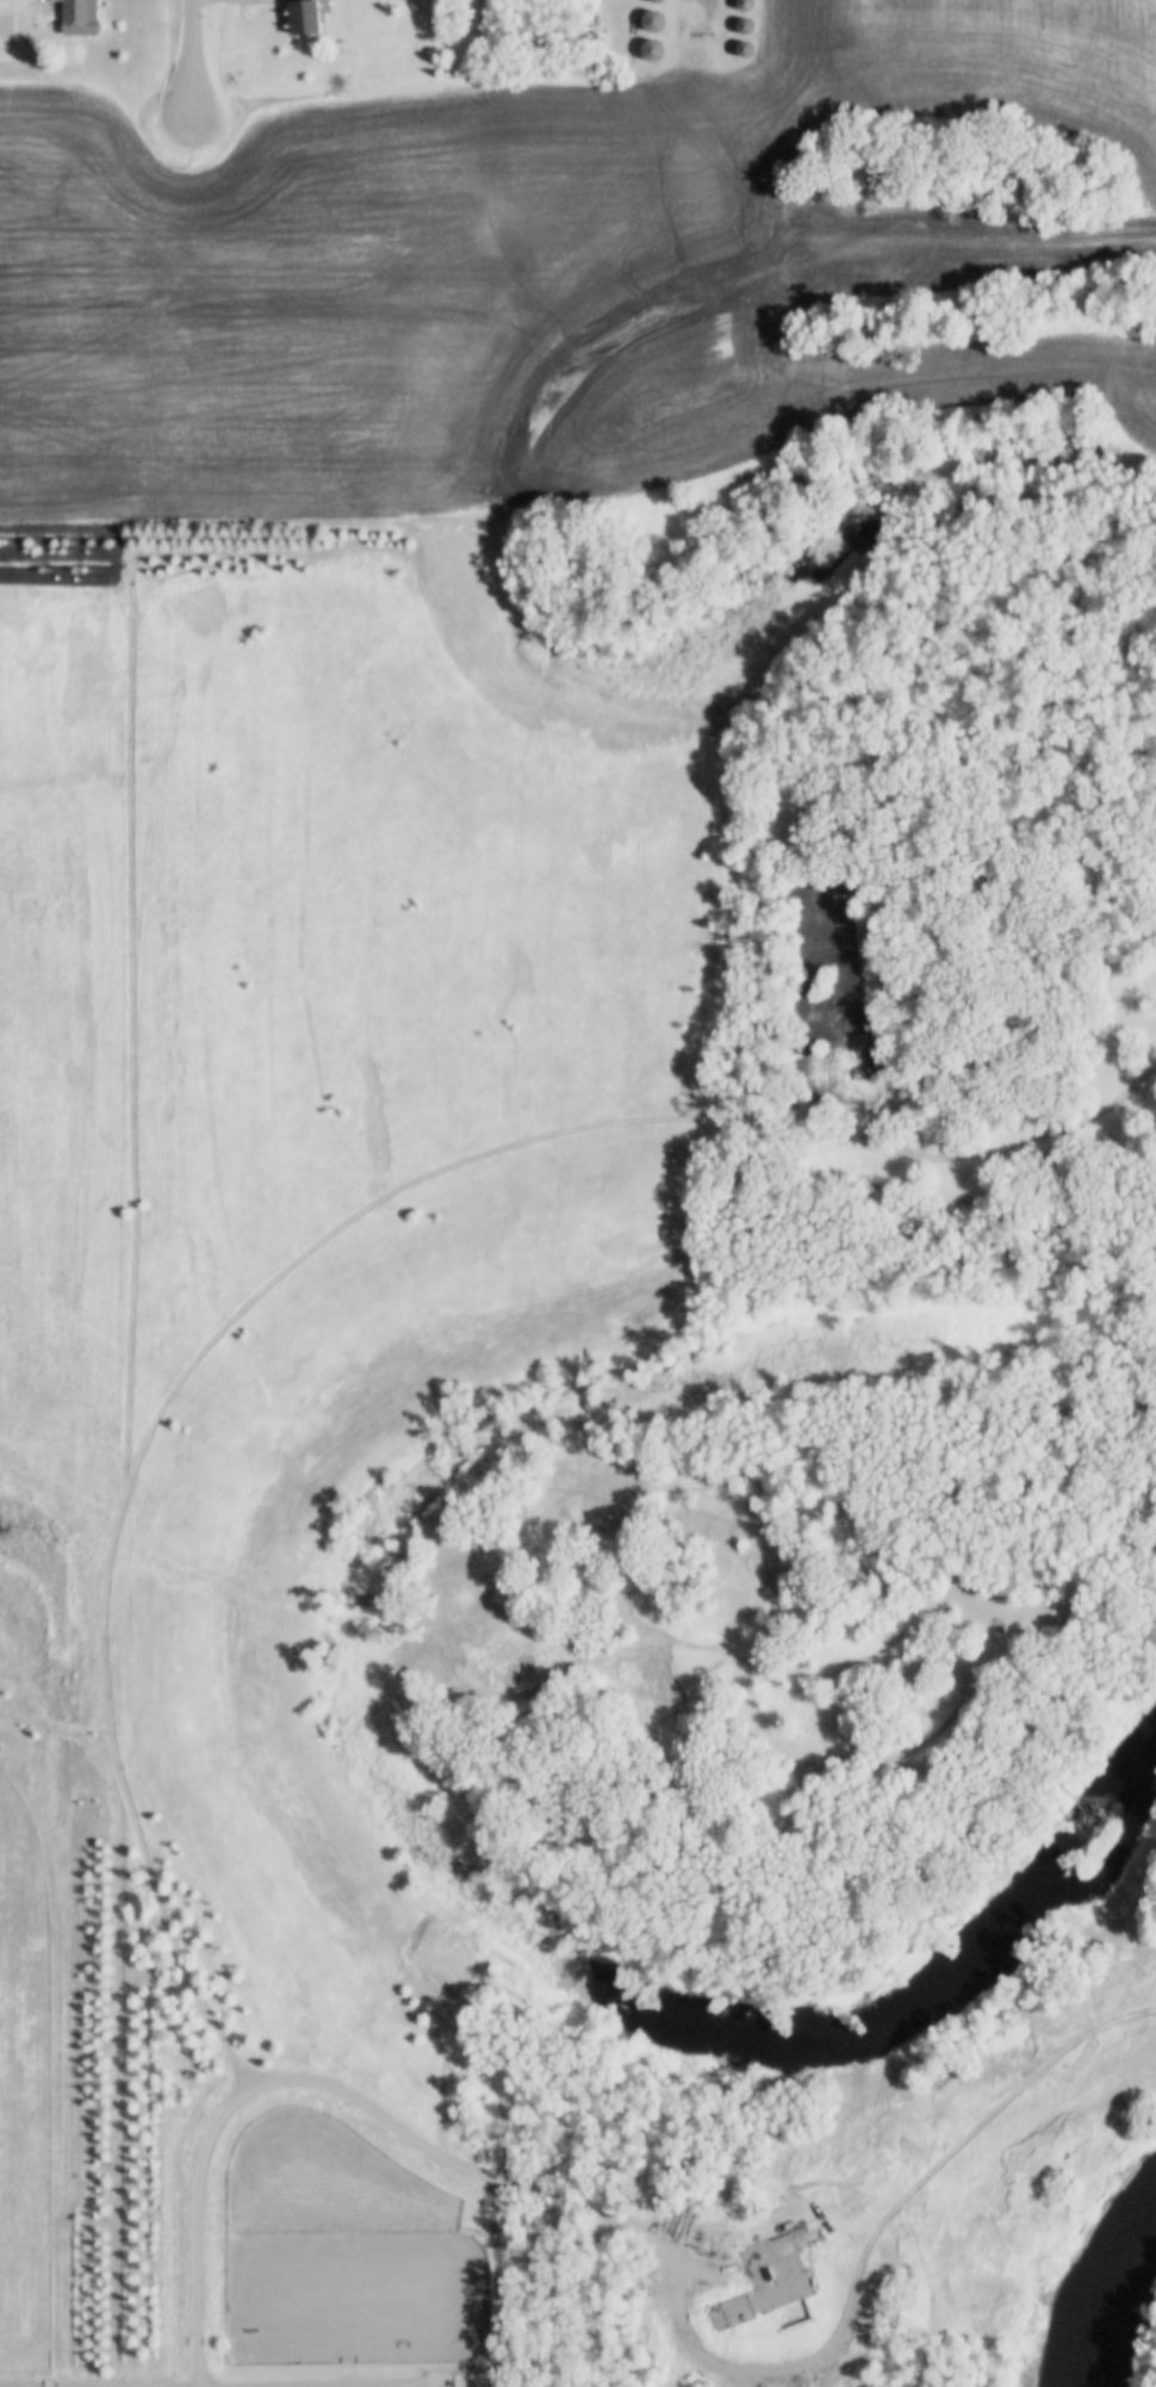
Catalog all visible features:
building: (79, 15)
building: (305, 15)
road: (694, 21)
road: (191, 55)
road: (396, 2126)
river: (1084, 2274)
building: (771, 2280)
road: (273, 2381)

